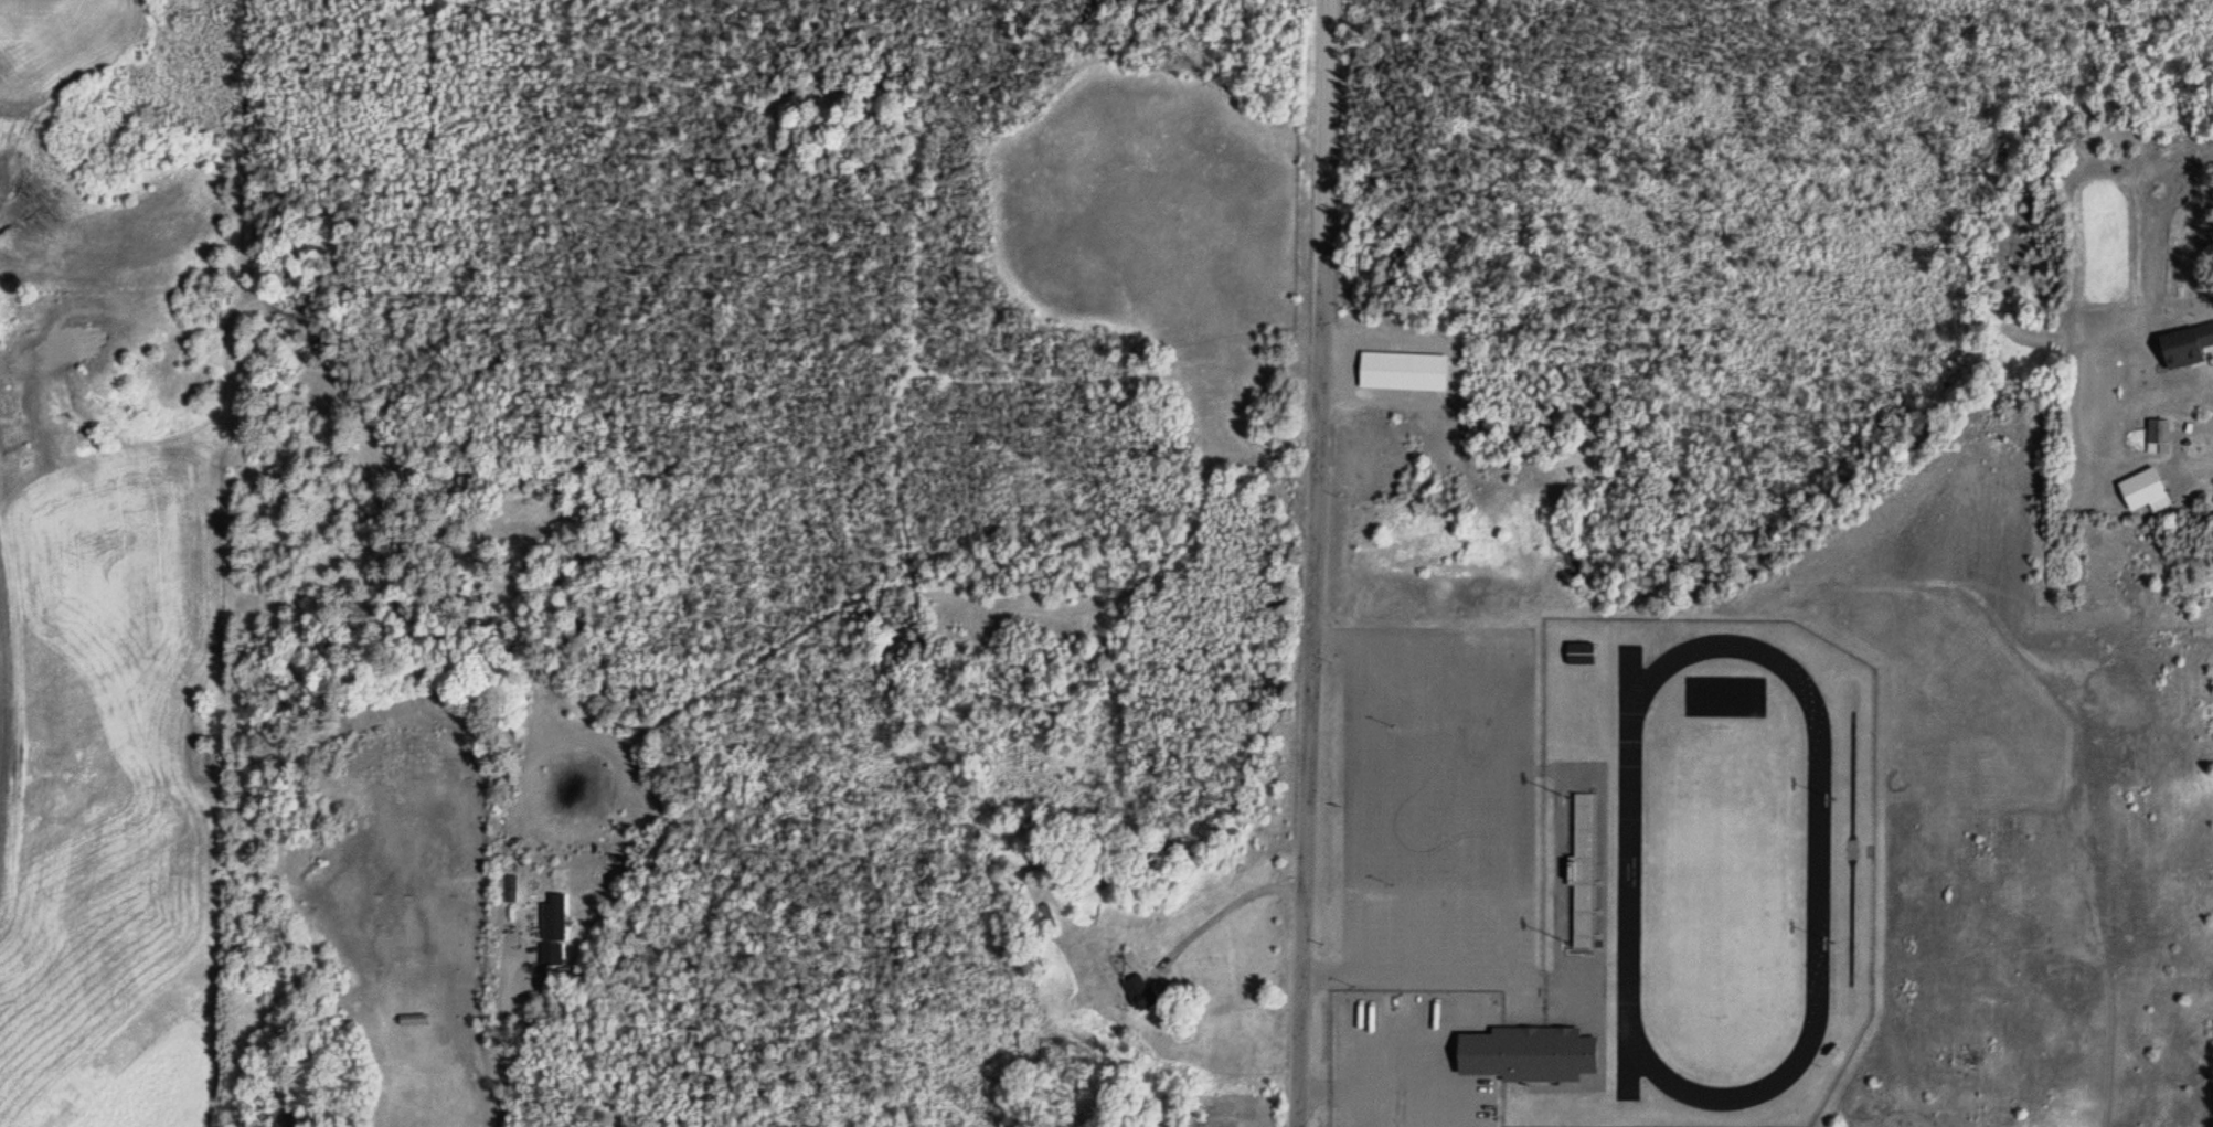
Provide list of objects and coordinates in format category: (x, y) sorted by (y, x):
building: (2183, 348)
building: (1402, 372)
building: (2157, 432)
road: (2210, 466)
building: (2139, 489)
road: (1317, 563)
building: (1581, 655)
track: (1631, 869)
road: (1224, 913)
building: (1047, 916)
building: (553, 931)
building: (1138, 992)
building: (411, 1021)
building: (1514, 1057)

